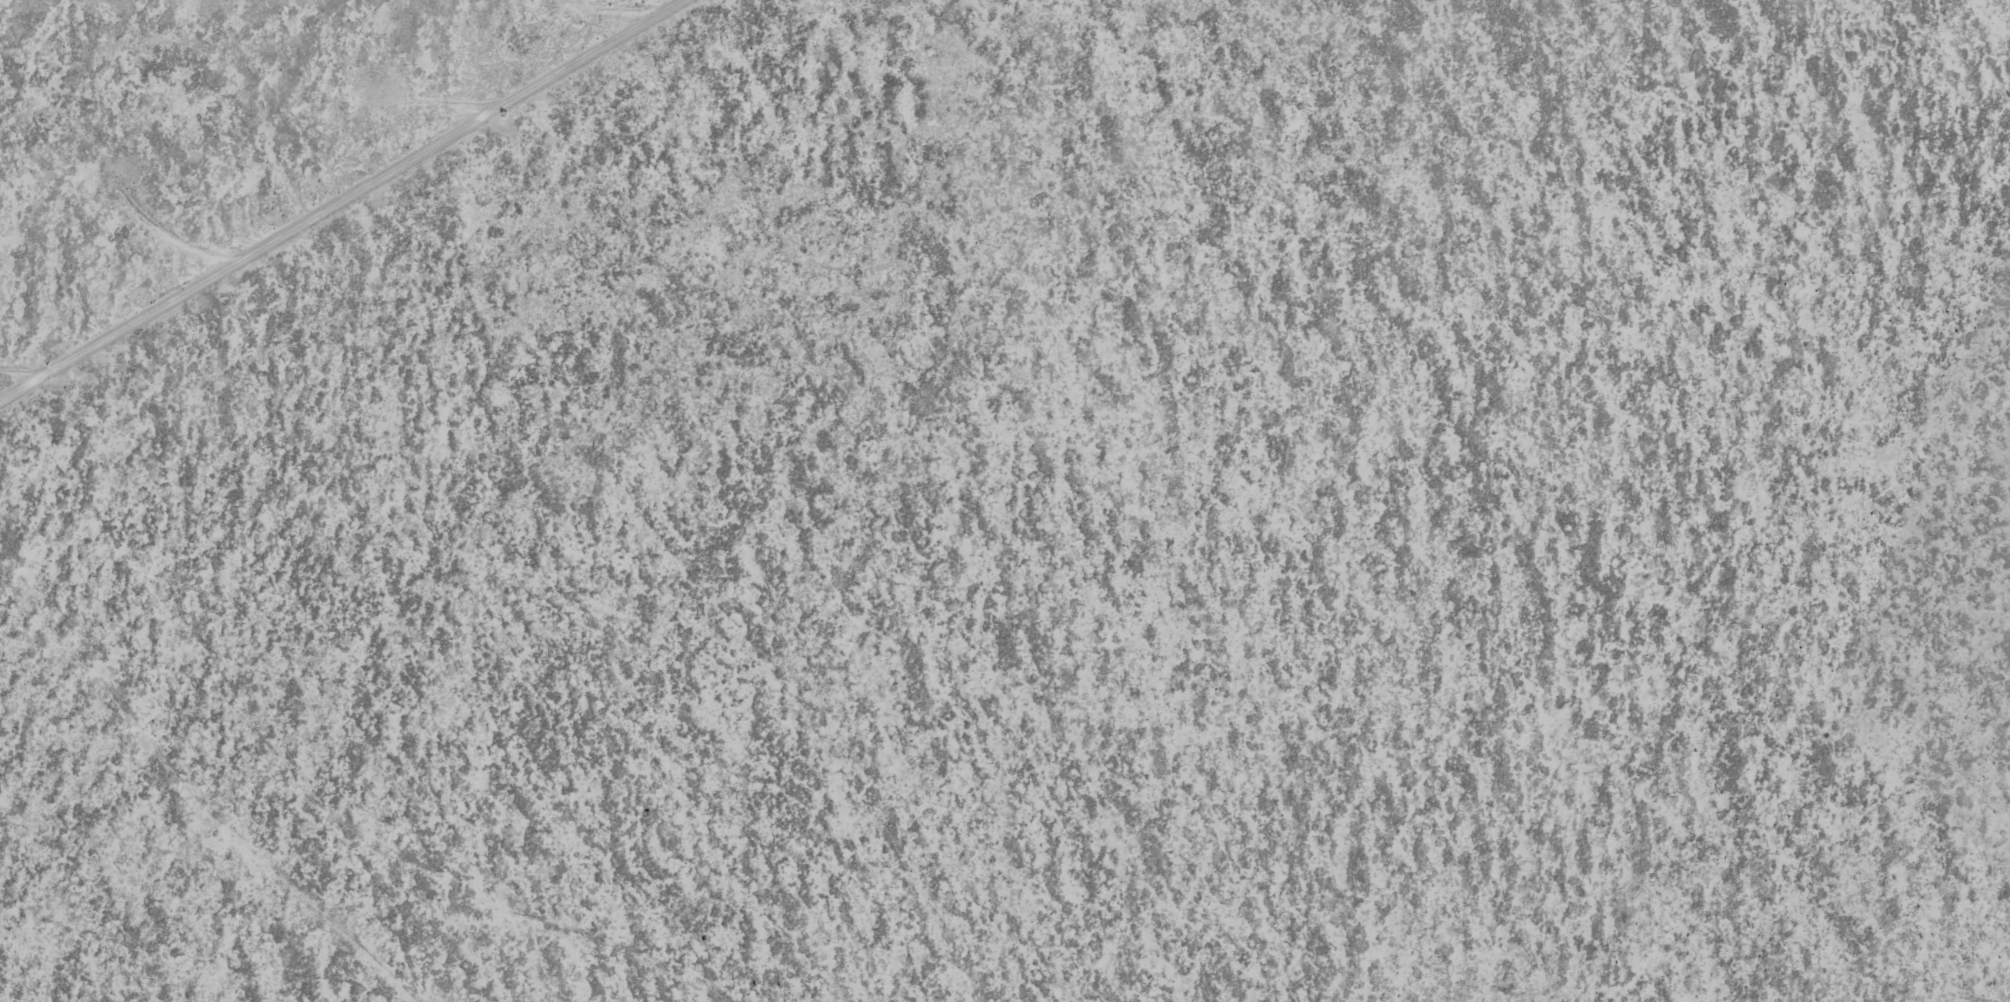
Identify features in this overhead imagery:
road: (347, 204)

